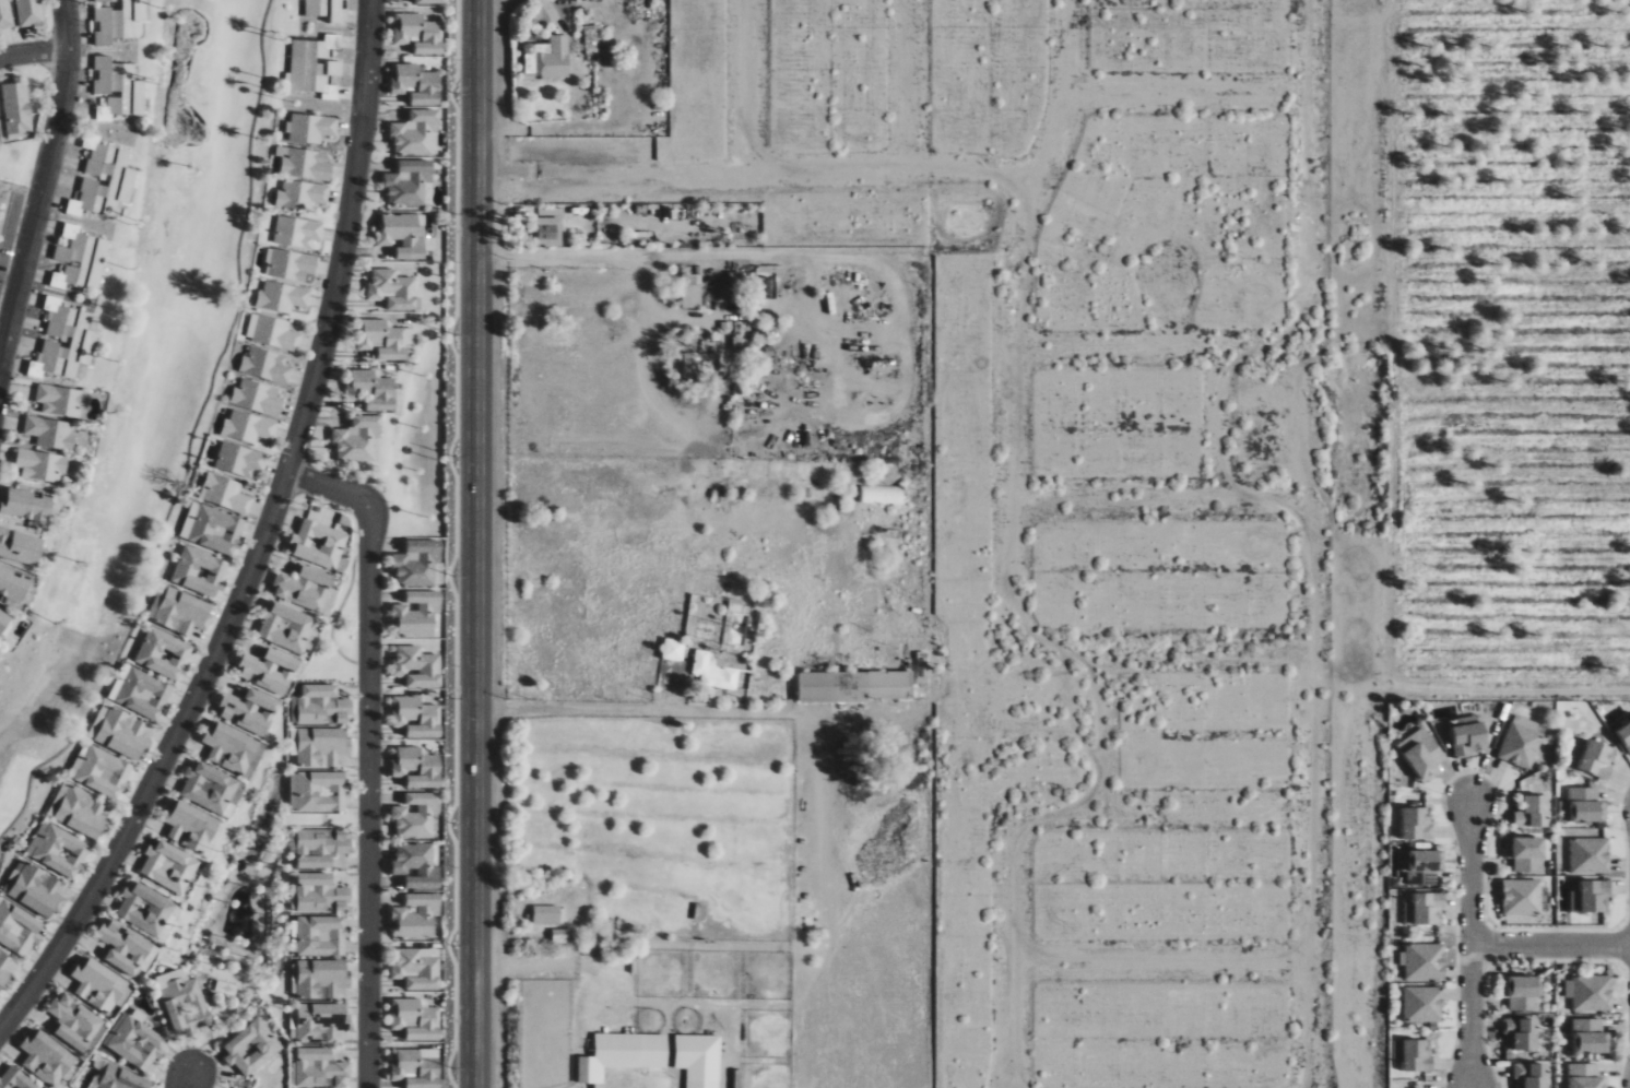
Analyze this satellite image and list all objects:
building: (428, 1)
building: (327, 10)
building: (29, 13)
building: (4, 15)
building: (120, 21)
fountain: (186, 31)
building: (418, 33)
road: (33, 52)
building: (547, 58)
building: (314, 63)
building: (416, 84)
building: (119, 87)
building: (331, 92)
building: (16, 107)
building: (311, 128)
building: (415, 133)
building: (0, 145)
building: (304, 164)
building: (116, 175)
road: (42, 182)
building: (409, 182)
building: (300, 194)
building: (550, 230)
building: (297, 232)
building: (402, 236)
building: (81, 260)
road: (342, 260)
building: (290, 264)
building: (393, 289)
building: (692, 296)
building: (282, 297)
building: (271, 332)
building: (76, 336)
building: (385, 340)
crop: (1510, 350)
building: (705, 363)
building: (265, 366)
building: (371, 390)
park: (147, 394)
building: (257, 398)
building: (62, 401)
building: (248, 427)
building: (50, 433)
road: (190, 439)
building: (357, 439)
road: (1393, 459)
building: (239, 460)
building: (42, 465)
building: (223, 493)
building: (883, 494)
building: (26, 504)
building: (215, 530)
road: (475, 543)
building: (317, 544)
building: (20, 546)
building: (200, 570)
building: (14, 584)
building: (304, 587)
building: (180, 611)
building: (417, 614)
building: (3, 619)
building: (285, 626)
building: (673, 649)
building: (164, 652)
fountain: (22, 662)
building: (417, 666)
building: (270, 670)
building: (713, 672)
building: (855, 685)
building: (144, 693)
building: (321, 705)
building: (250, 710)
road: (598, 714)
building: (416, 717)
building: (123, 733)
building: (1625, 736)
building: (1465, 737)
building: (320, 745)
building: (1519, 746)
building: (229, 747)
road: (369, 752)
building: (1421, 757)
building: (1593, 760)
building: (417, 767)
building: (102, 770)
road: (151, 780)
building: (211, 789)
building: (320, 791)
building: (1582, 804)
building: (80, 811)
building: (1529, 812)
building: (416, 815)
building: (1415, 824)
building: (190, 826)
fountain: (265, 826)
road: (1452, 835)
fountain: (3, 847)
building: (320, 847)
building: (58, 849)
fountain: (229, 852)
building: (1523, 852)
road: (1626, 853)
building: (1587, 855)
building: (416, 865)
building: (168, 866)
building: (1421, 866)
building: (36, 890)
building: (319, 891)
building: (1590, 895)
building: (1517, 897)
building: (1424, 907)
building: (145, 908)
fountain: (240, 914)
building: (416, 915)
building: (17, 927)
road: (1556, 931)
building: (321, 935)
building: (559, 935)
road: (1470, 944)
building: (125, 946)
road: (1488, 946)
road: (1550, 946)
road: (1623, 946)
road: (1556, 960)
building: (1424, 961)
fountain: (187, 962)
building: (417, 968)
building: (3, 969)
building: (320, 978)
building: (98, 985)
fountain: (269, 985)
building: (1519, 993)
building: (1590, 994)
building: (184, 1001)
building: (1422, 1005)
building: (415, 1019)
building: (74, 1021)
building: (320, 1021)
road: (1627, 1026)
road: (1485, 1027)
building: (1520, 1033)
building: (1586, 1037)
building: (134, 1042)
building: (251, 1048)
building: (623, 1054)
building: (1413, 1056)
building: (46, 1057)
building: (699, 1060)
building: (319, 1067)
building: (417, 1067)
building: (1528, 1075)
building: (117, 1076)
building: (1582, 1076)
building: (15, 1078)
road: (187, 1084)

